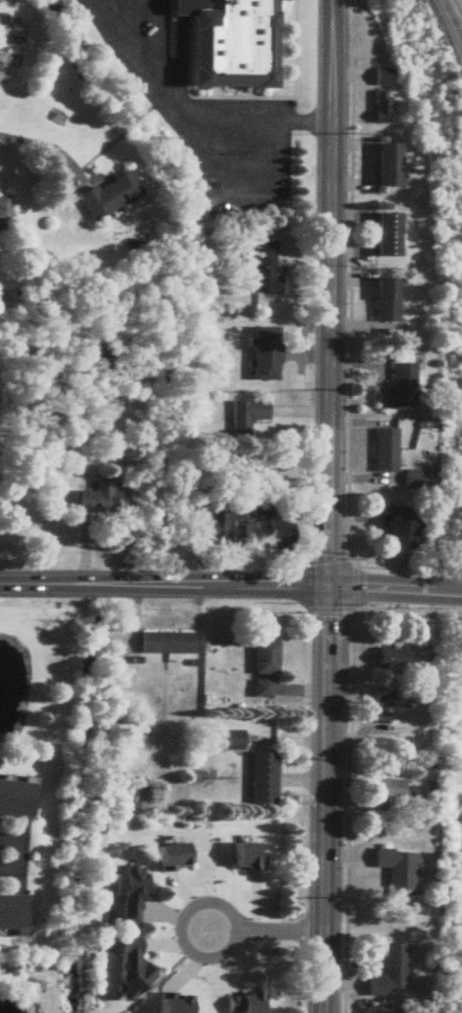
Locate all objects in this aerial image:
road: (164, 11)
road: (449, 29)
road: (163, 38)
building: (223, 43)
road: (179, 50)
road: (165, 93)
road: (286, 94)
road: (180, 97)
building: (380, 97)
parking lot: (202, 112)
road: (234, 122)
road: (305, 122)
road: (37, 142)
road: (228, 158)
building: (385, 167)
road: (268, 177)
building: (106, 197)
building: (3, 215)
building: (384, 237)
building: (260, 269)
road: (328, 292)
building: (384, 302)
building: (263, 355)
building: (397, 390)
building: (245, 417)
building: (384, 451)
building: (95, 498)
building: (218, 527)
building: (401, 531)
building: (275, 536)
road: (164, 583)
traffic signals: (328, 586)
road: (395, 589)
building: (163, 643)
building: (388, 659)
building: (261, 669)
building: (229, 741)
building: (260, 779)
building: (388, 790)
building: (15, 799)
road: (324, 799)
road: (15, 852)
building: (168, 856)
building: (394, 871)
building: (129, 895)
building: (11, 915)
road: (179, 931)
road: (277, 934)
building: (126, 967)
building: (387, 973)

